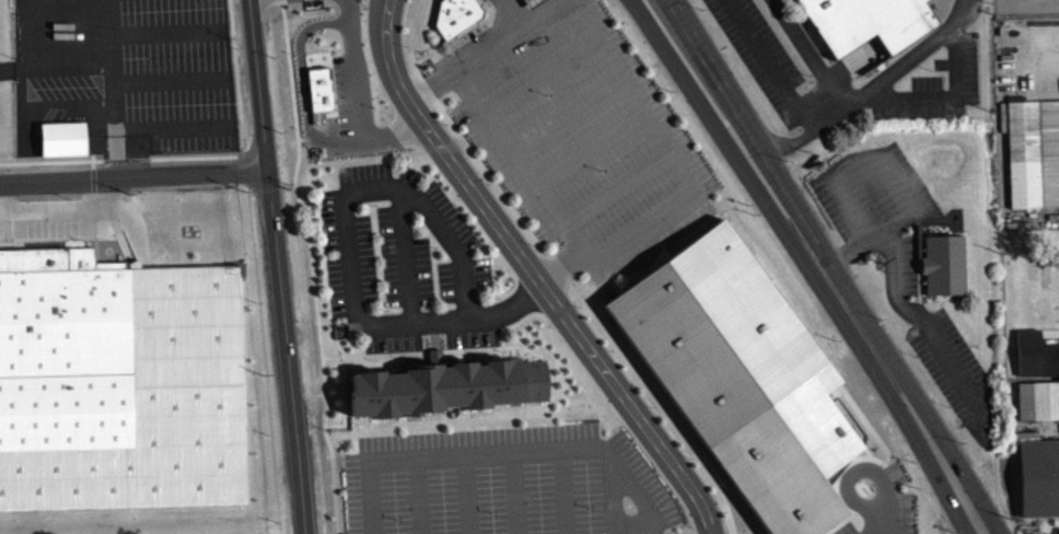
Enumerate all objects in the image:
building: (529, 4)
power substation: (1025, 5)
building: (455, 18)
road: (340, 20)
road: (529, 22)
building: (868, 22)
parking lot: (763, 54)
road: (811, 54)
road: (464, 61)
road: (713, 61)
road: (110, 62)
road: (771, 65)
road: (359, 80)
building: (319, 86)
road: (868, 91)
road: (303, 106)
building: (60, 143)
road: (402, 143)
building: (1032, 158)
road: (682, 171)
road: (133, 173)
road: (373, 189)
road: (906, 199)
road: (858, 217)
road: (453, 244)
parking lot: (405, 263)
parking lot: (901, 264)
building: (943, 264)
road: (799, 265)
road: (276, 266)
road: (314, 266)
road: (559, 270)
road: (533, 272)
road: (859, 293)
road: (455, 316)
road: (517, 323)
road: (927, 325)
road: (455, 348)
building: (63, 349)
building: (1034, 360)
building: (740, 374)
building: (447, 386)
road: (347, 400)
building: (1035, 405)
road: (514, 455)
building: (1038, 476)
parking lot: (505, 481)
road: (610, 491)
road: (562, 494)
road: (467, 495)
road: (514, 495)
road: (419, 497)
road: (984, 499)
parking lot: (1040, 531)

